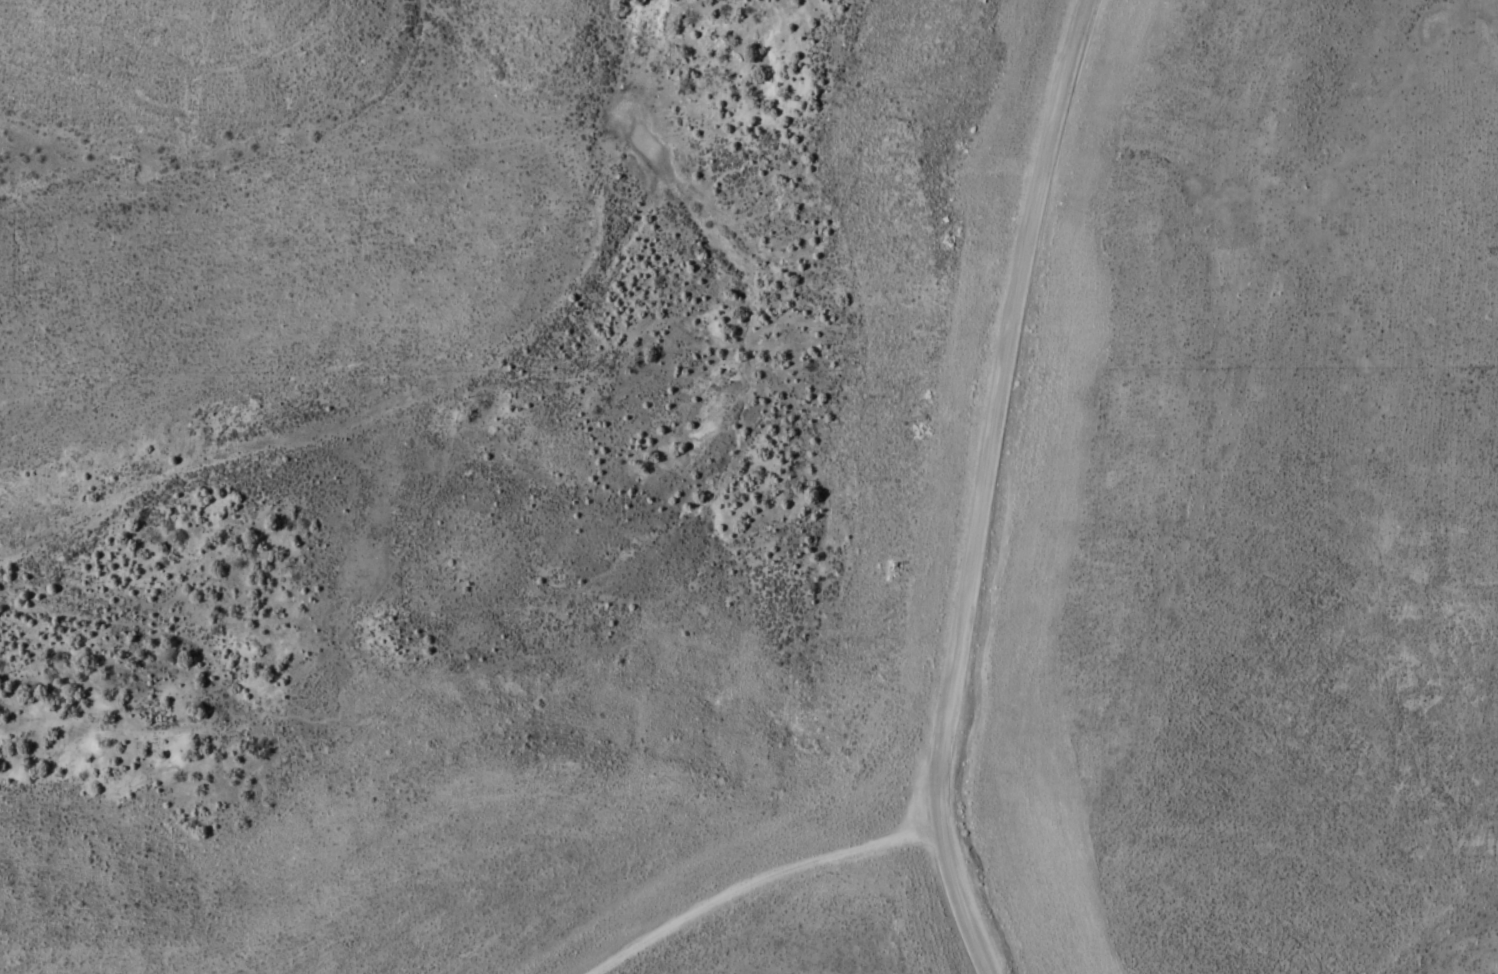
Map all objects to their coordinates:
road: (997, 486)
road: (753, 875)

